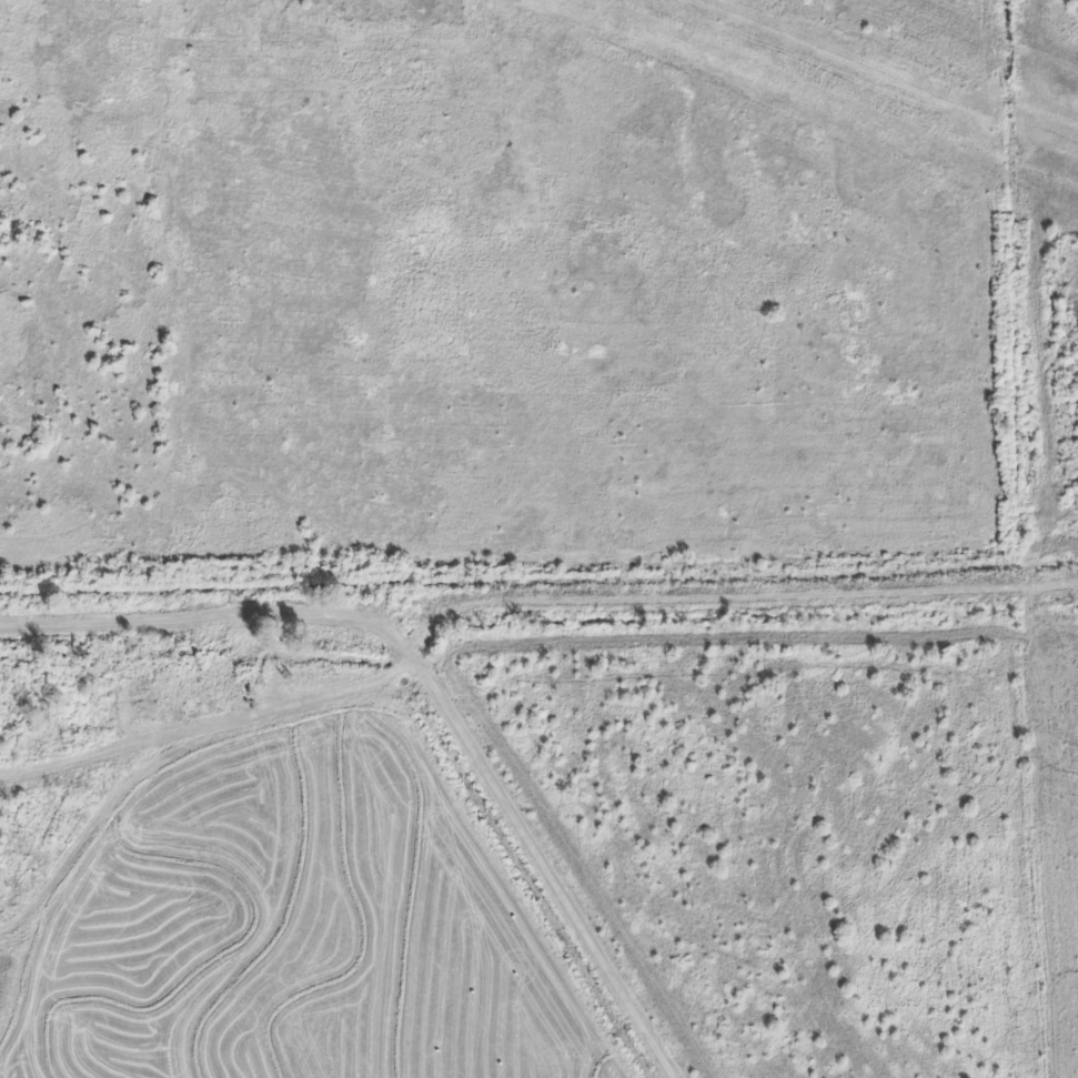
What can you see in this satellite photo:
road: (534, 622)

